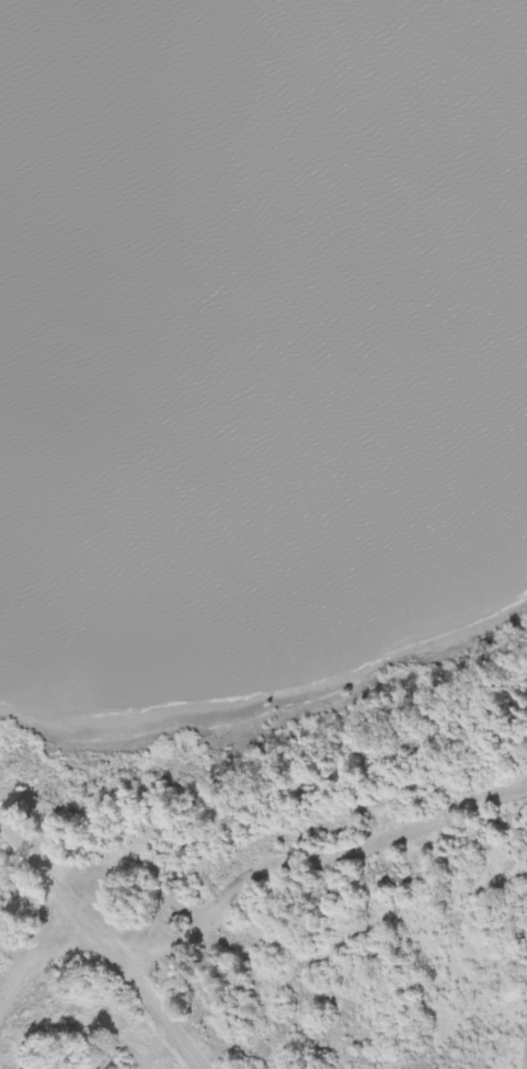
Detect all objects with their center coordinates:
road: (105, 948)

